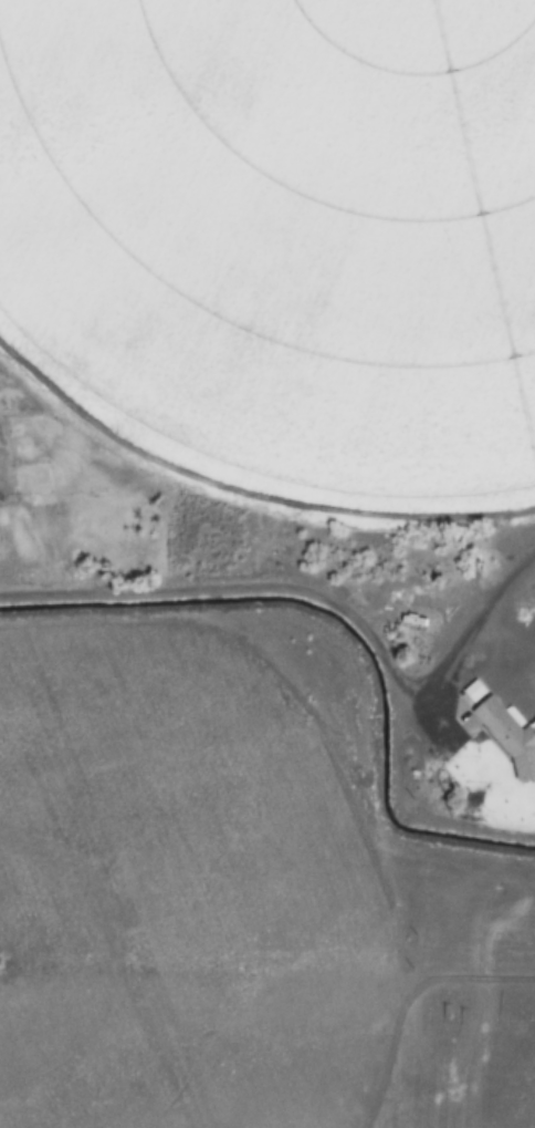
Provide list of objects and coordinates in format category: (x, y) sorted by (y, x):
road: (231, 591)
building: (503, 731)

